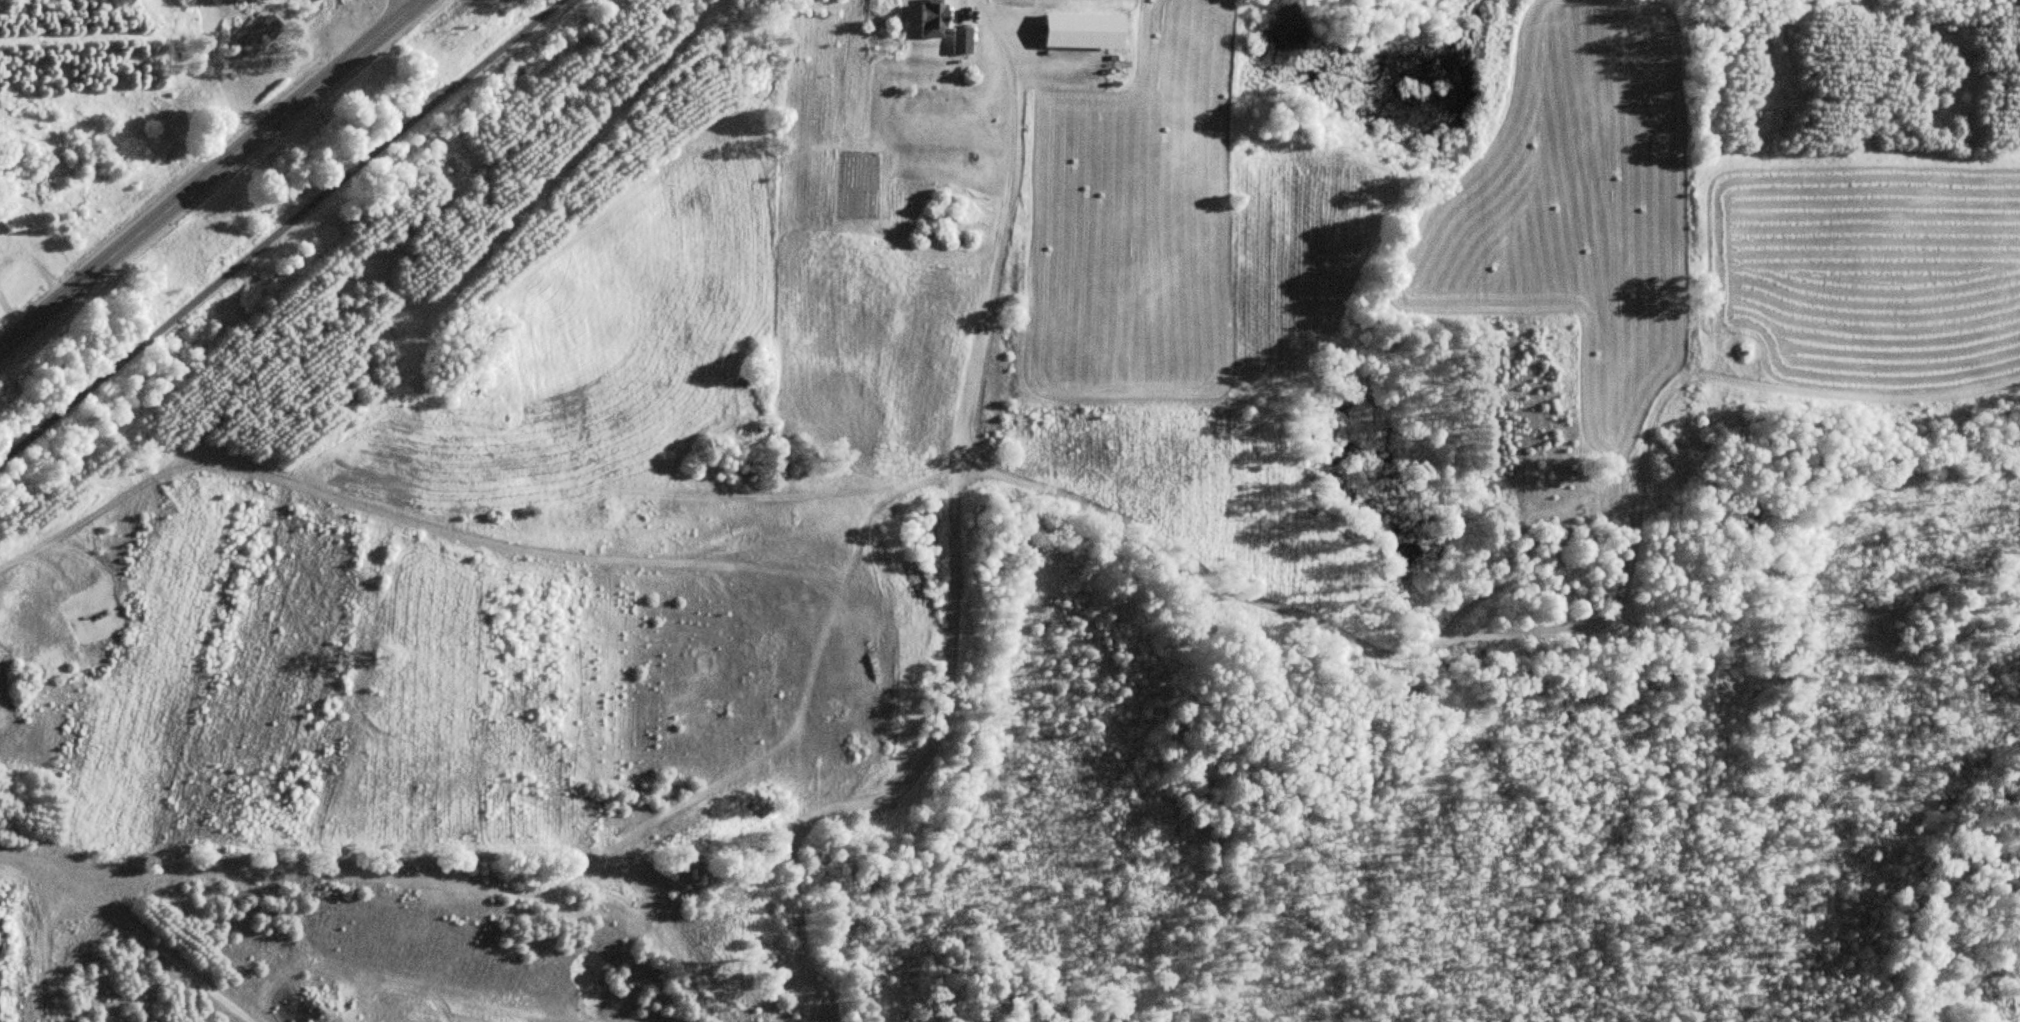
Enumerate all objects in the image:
road: (414, 2)
road: (418, 2)
building: (934, 19)
building: (1086, 31)
building: (262, 36)
building: (964, 40)
road: (208, 176)
building: (5, 225)
road: (283, 234)
building: (2, 247)
petroleum well: (99, 615)

